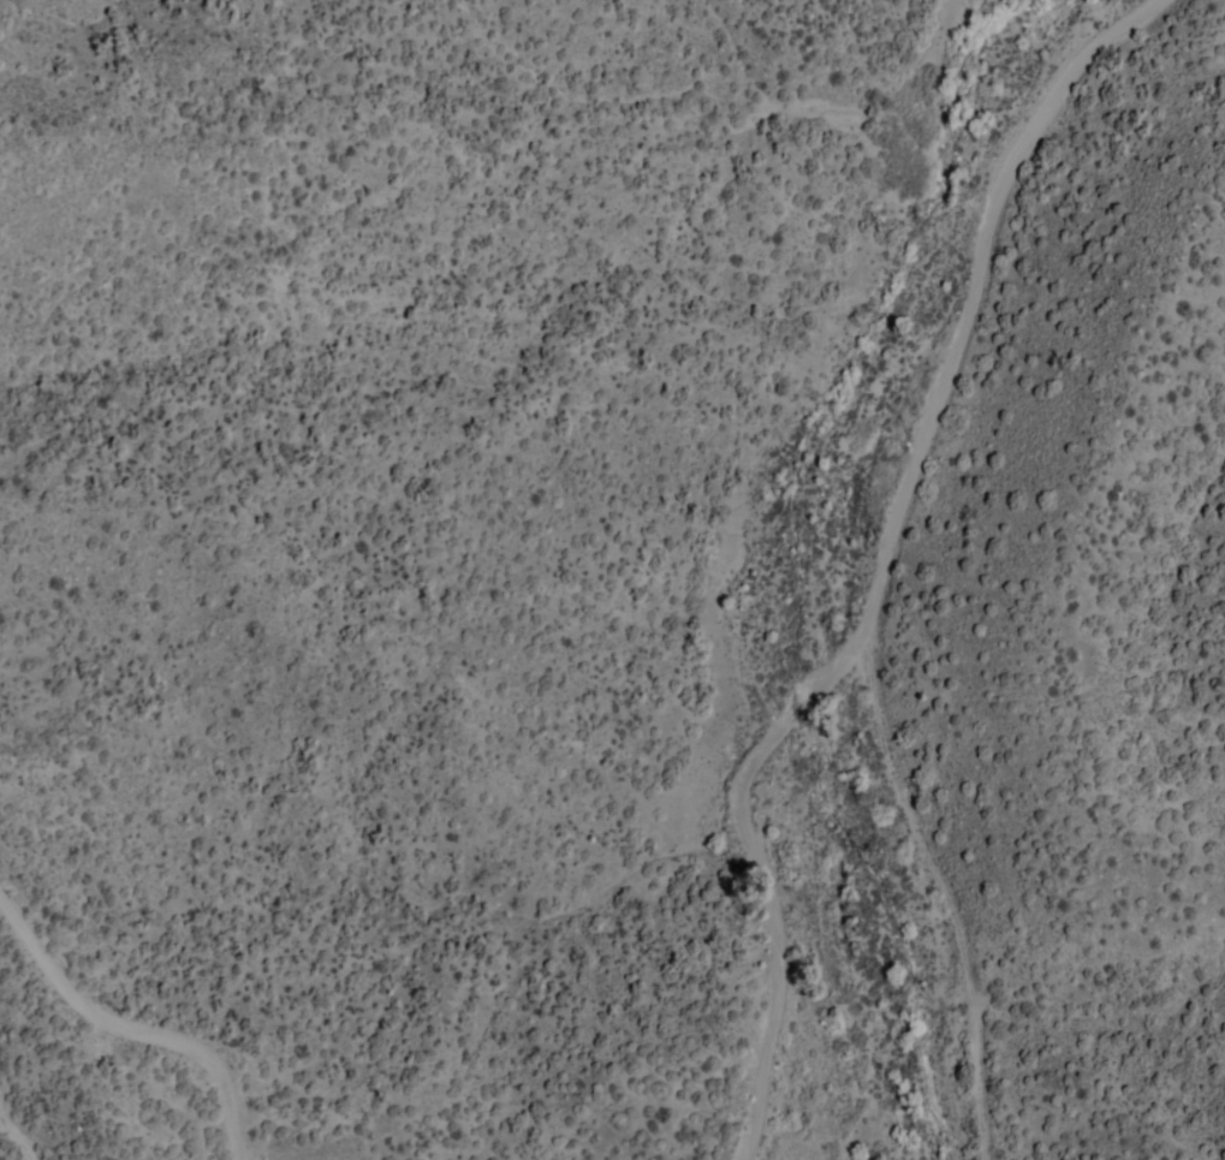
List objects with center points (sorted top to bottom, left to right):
road: (875, 551)
road: (16, 1128)

